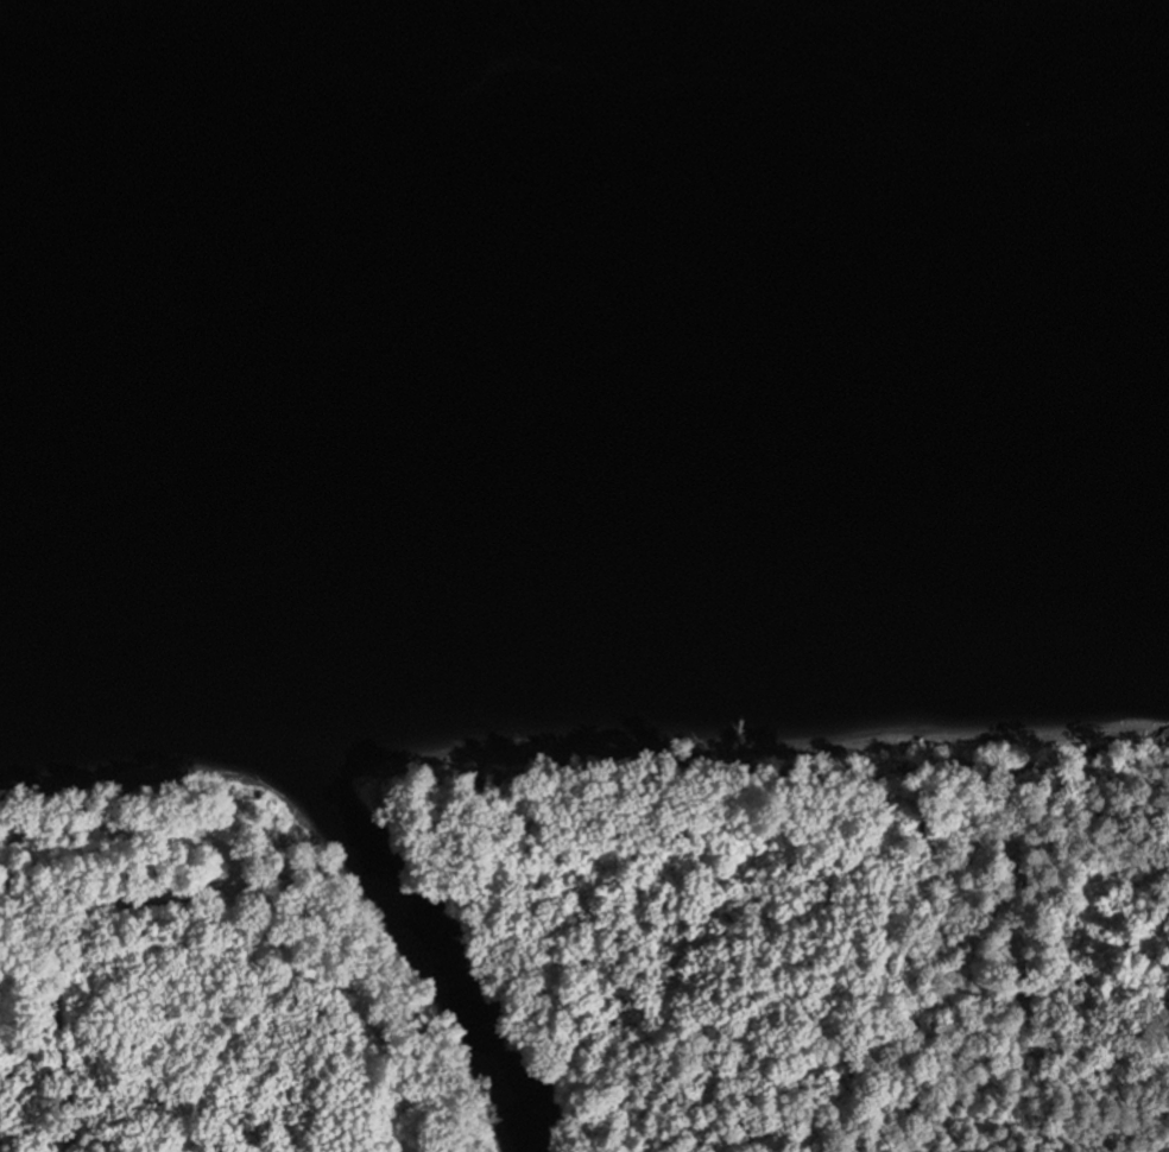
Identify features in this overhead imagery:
river: (584, 76)
road: (122, 905)

